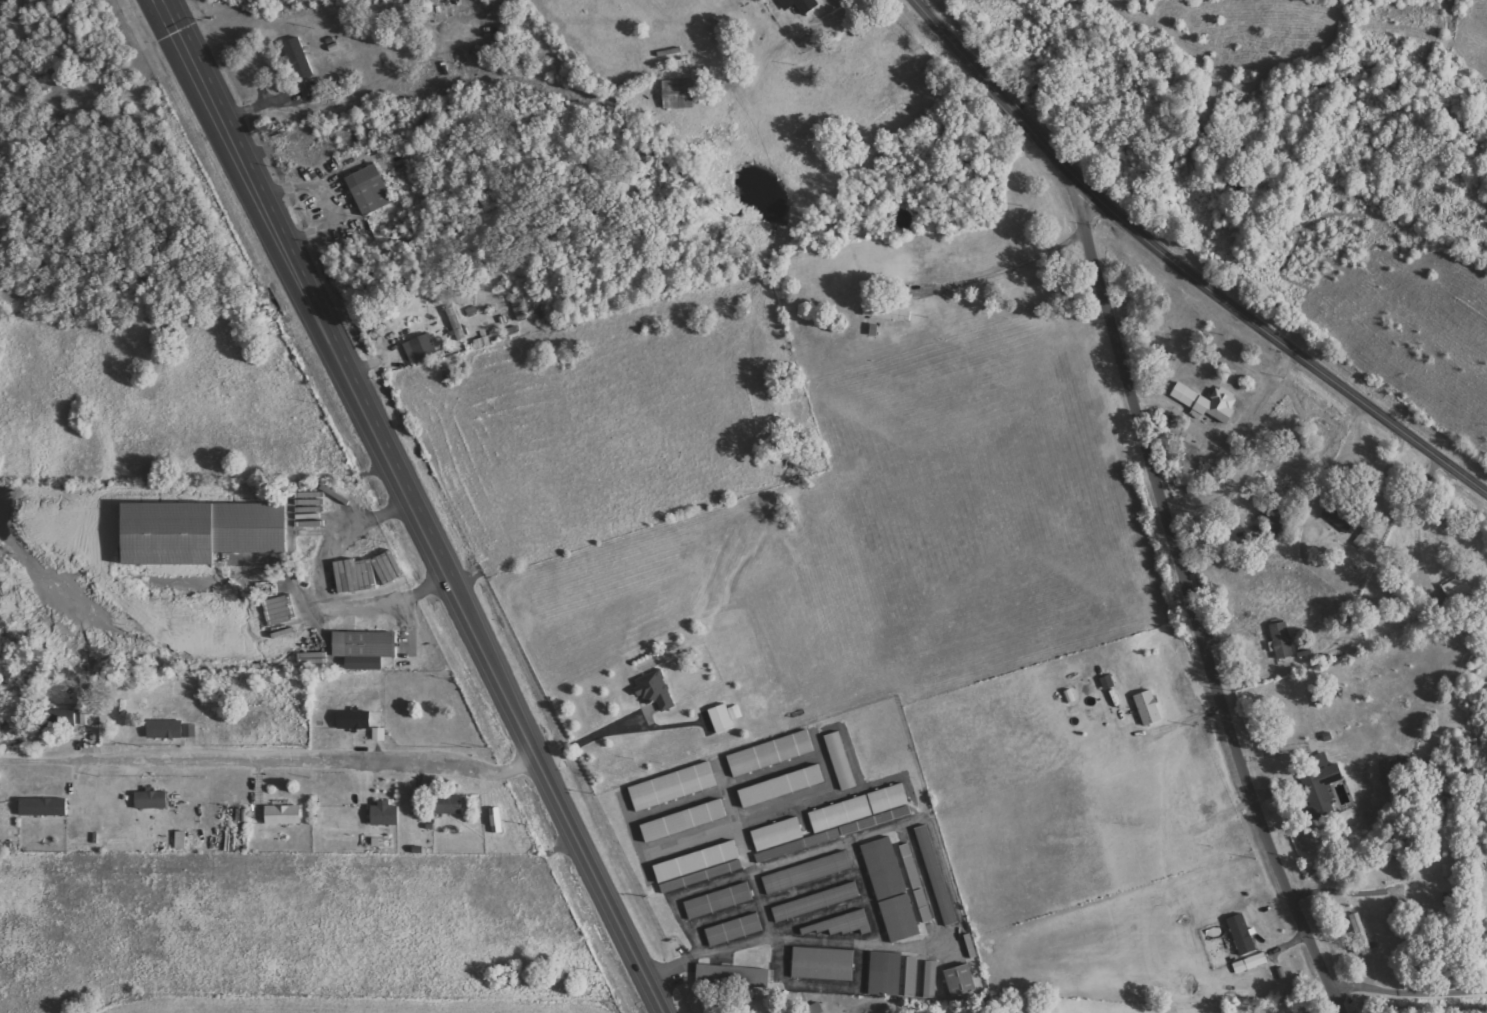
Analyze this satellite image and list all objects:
building: (800, 5)
road: (166, 20)
building: (299, 59)
building: (679, 94)
building: (371, 191)
road: (1180, 266)
road: (313, 310)
building: (888, 314)
building: (421, 349)
building: (1209, 403)
building: (1341, 517)
building: (1364, 537)
building: (208, 545)
road: (1191, 607)
building: (1282, 640)
building: (366, 649)
building: (313, 658)
building: (1108, 682)
building: (655, 690)
building: (1321, 699)
building: (1149, 708)
building: (725, 717)
building: (61, 718)
building: (87, 719)
building: (355, 720)
building: (13, 729)
building: (166, 729)
building: (190, 731)
building: (380, 734)
building: (771, 754)
building: (778, 766)
building: (1393, 771)
building: (783, 786)
building: (1320, 789)
road: (557, 796)
building: (679, 798)
building: (788, 799)
building: (152, 800)
building: (449, 805)
building: (860, 805)
building: (45, 807)
building: (284, 815)
building: (386, 815)
building: (686, 820)
building: (690, 833)
building: (181, 840)
building: (785, 846)
building: (911, 866)
building: (808, 873)
building: (703, 874)
building: (813, 885)
building: (943, 887)
building: (719, 901)
building: (817, 902)
building: (898, 902)
building: (924, 906)
building: (725, 912)
building: (823, 913)
building: (844, 925)
building: (735, 930)
building: (1242, 935)
building: (850, 936)
building: (1362, 936)
building: (740, 941)
building: (1251, 963)
building: (829, 975)
building: (912, 977)
building: (931, 979)
building: (962, 981)
building: (891, 985)
building: (740, 986)
building: (917, 989)
building: (937, 989)
building: (968, 993)
building: (816, 1008)

